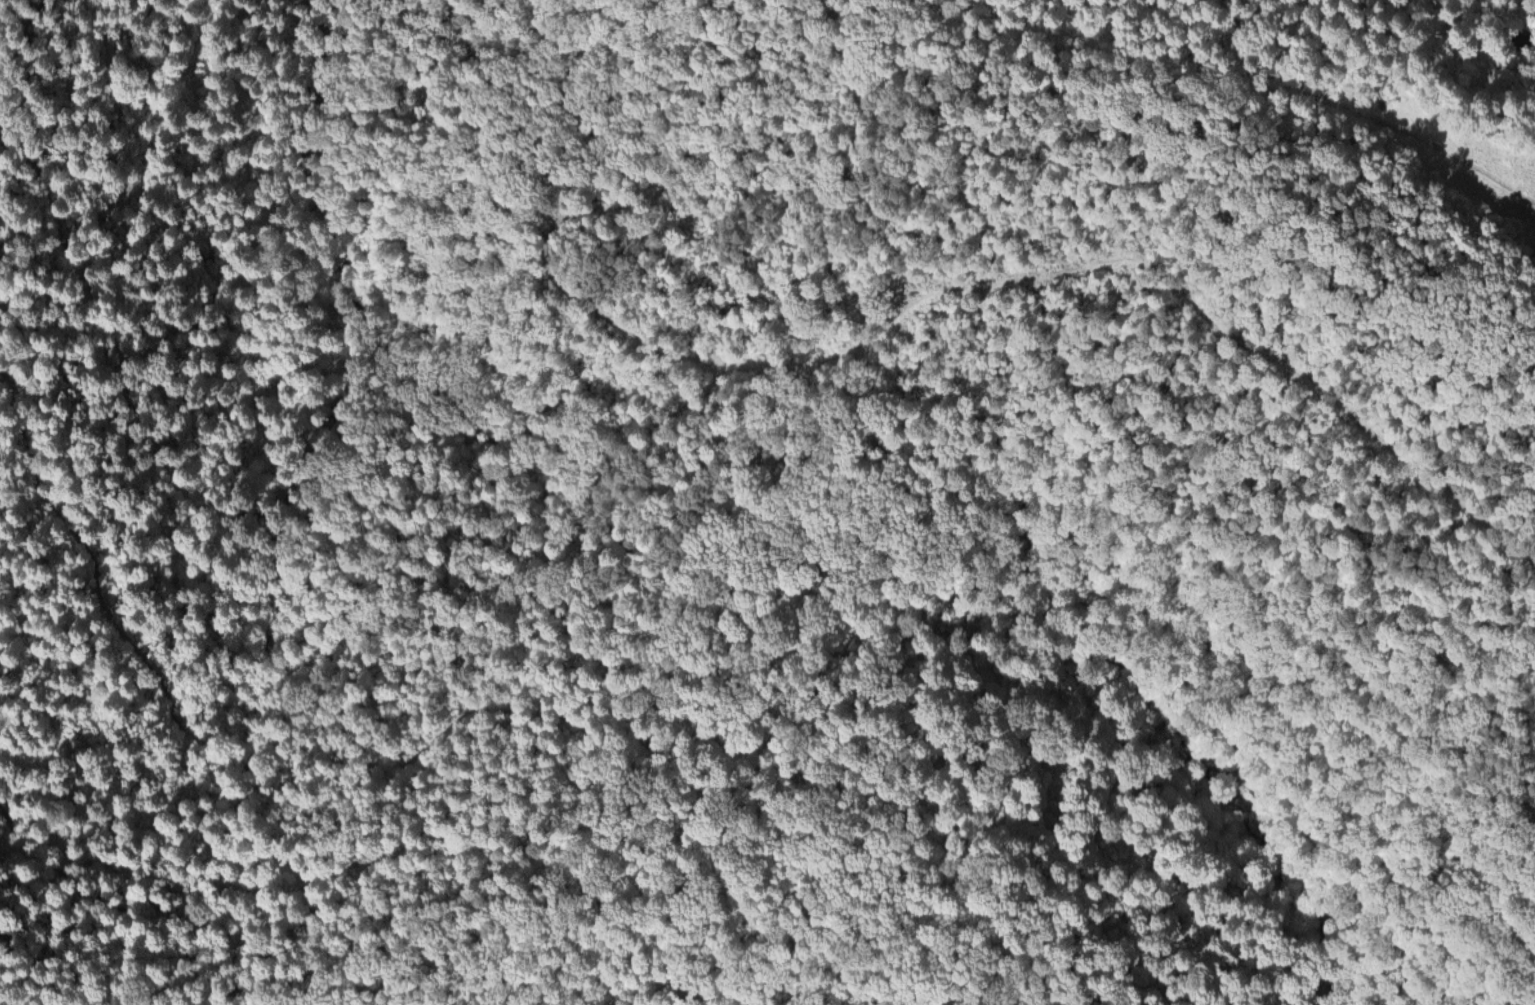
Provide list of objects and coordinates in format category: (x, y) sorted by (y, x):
road: (898, 301)
road: (732, 960)

